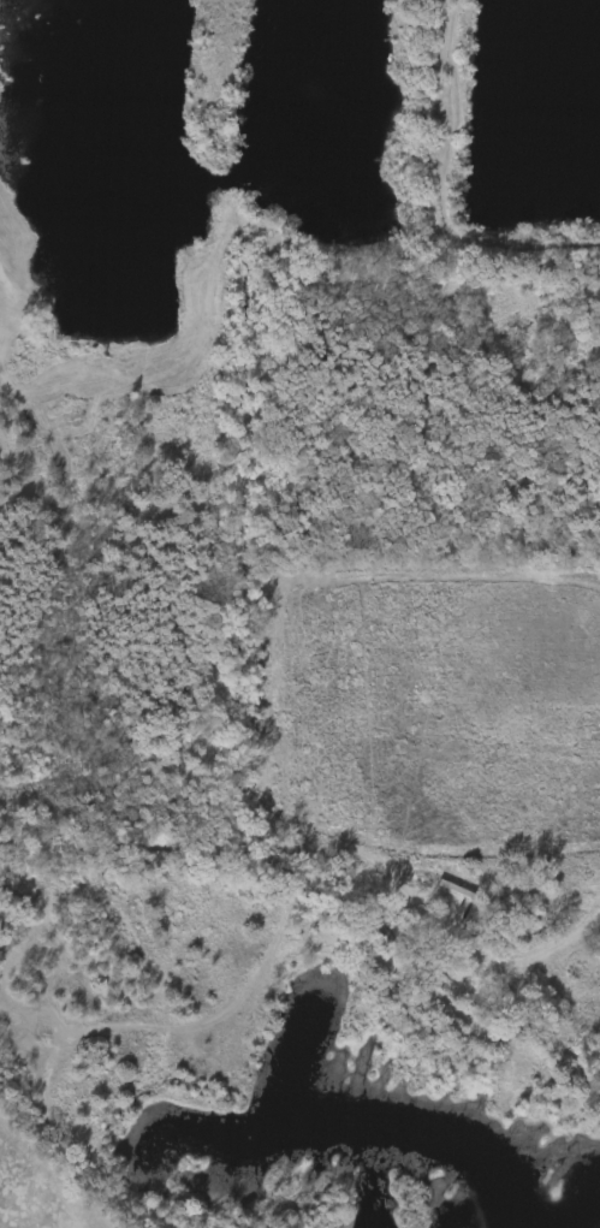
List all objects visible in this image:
road: (298, 902)

